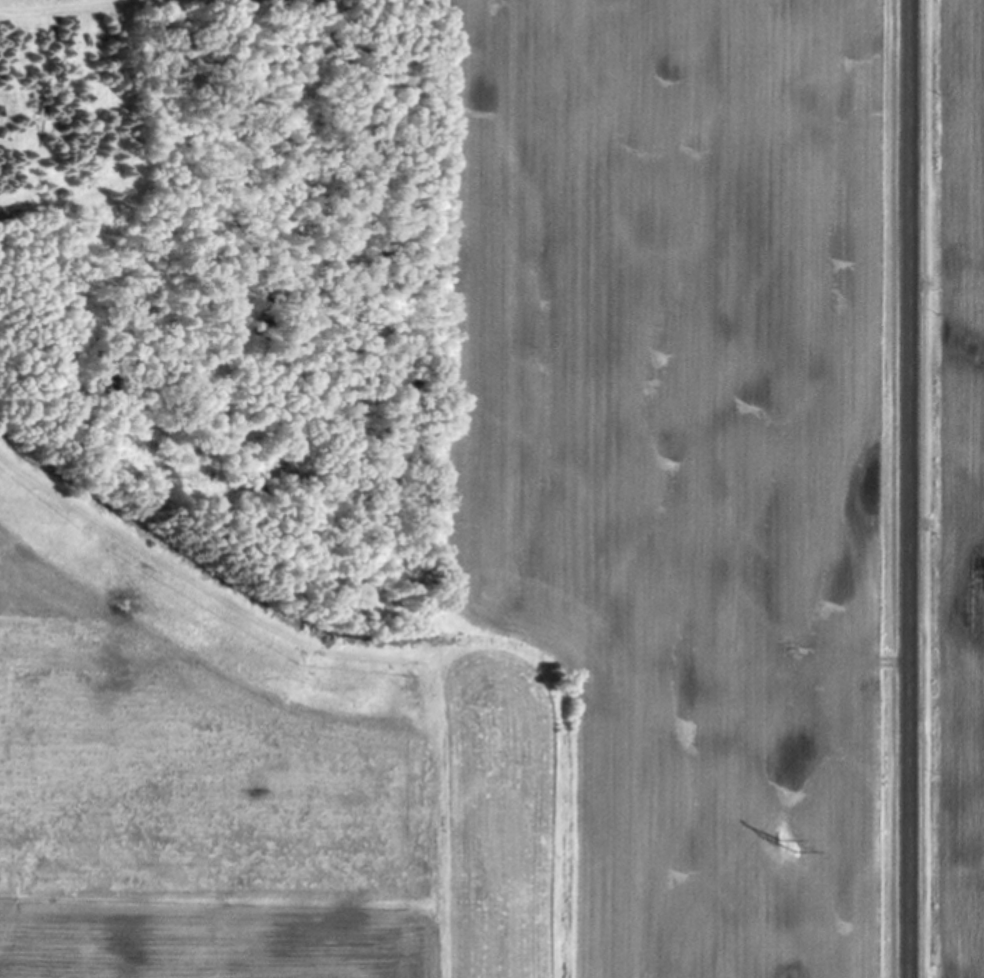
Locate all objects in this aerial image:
road: (908, 489)
power tower: (793, 848)

